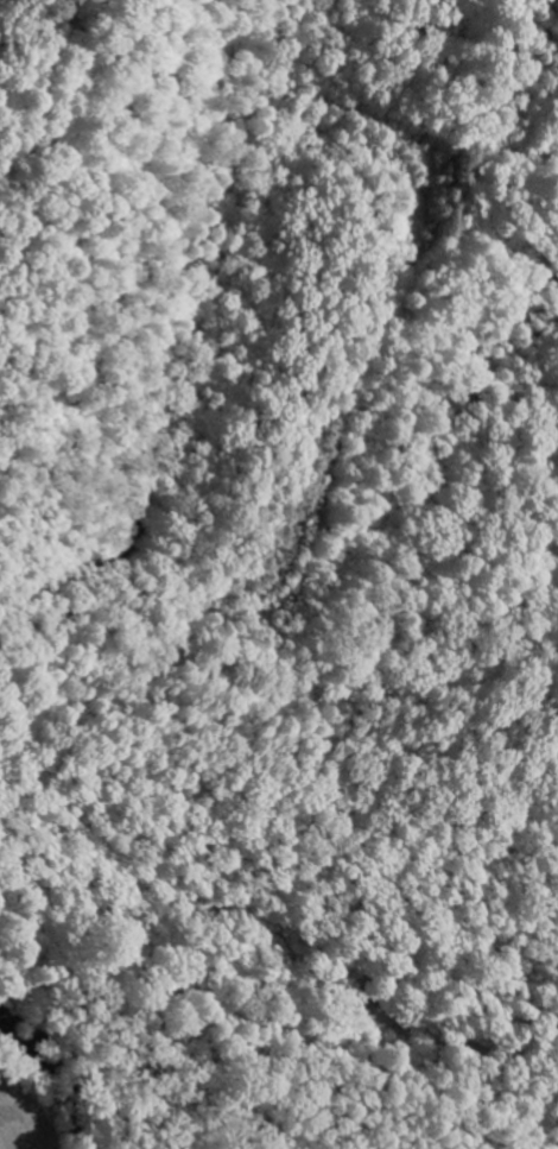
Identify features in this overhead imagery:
river: (66, 1071)

